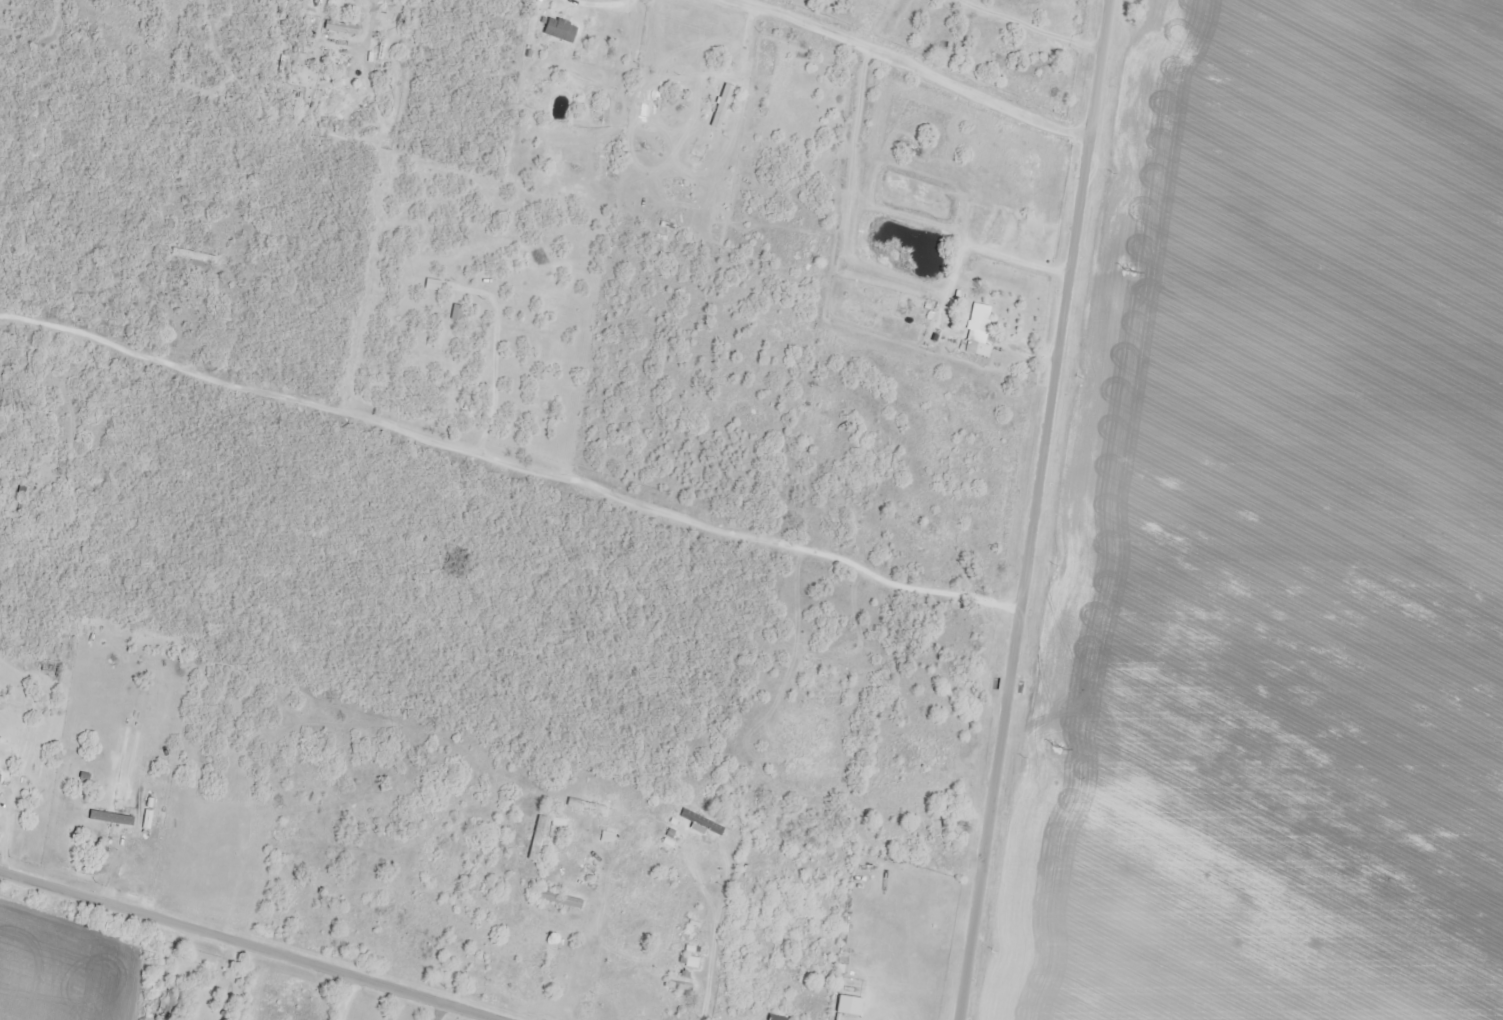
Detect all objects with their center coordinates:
building: (560, 30)
building: (590, 34)
road: (901, 60)
power tower: (1127, 272)
road: (831, 295)
building: (980, 319)
road: (507, 467)
road: (1031, 509)
power tower: (1057, 749)
road: (237, 948)
building: (679, 984)

